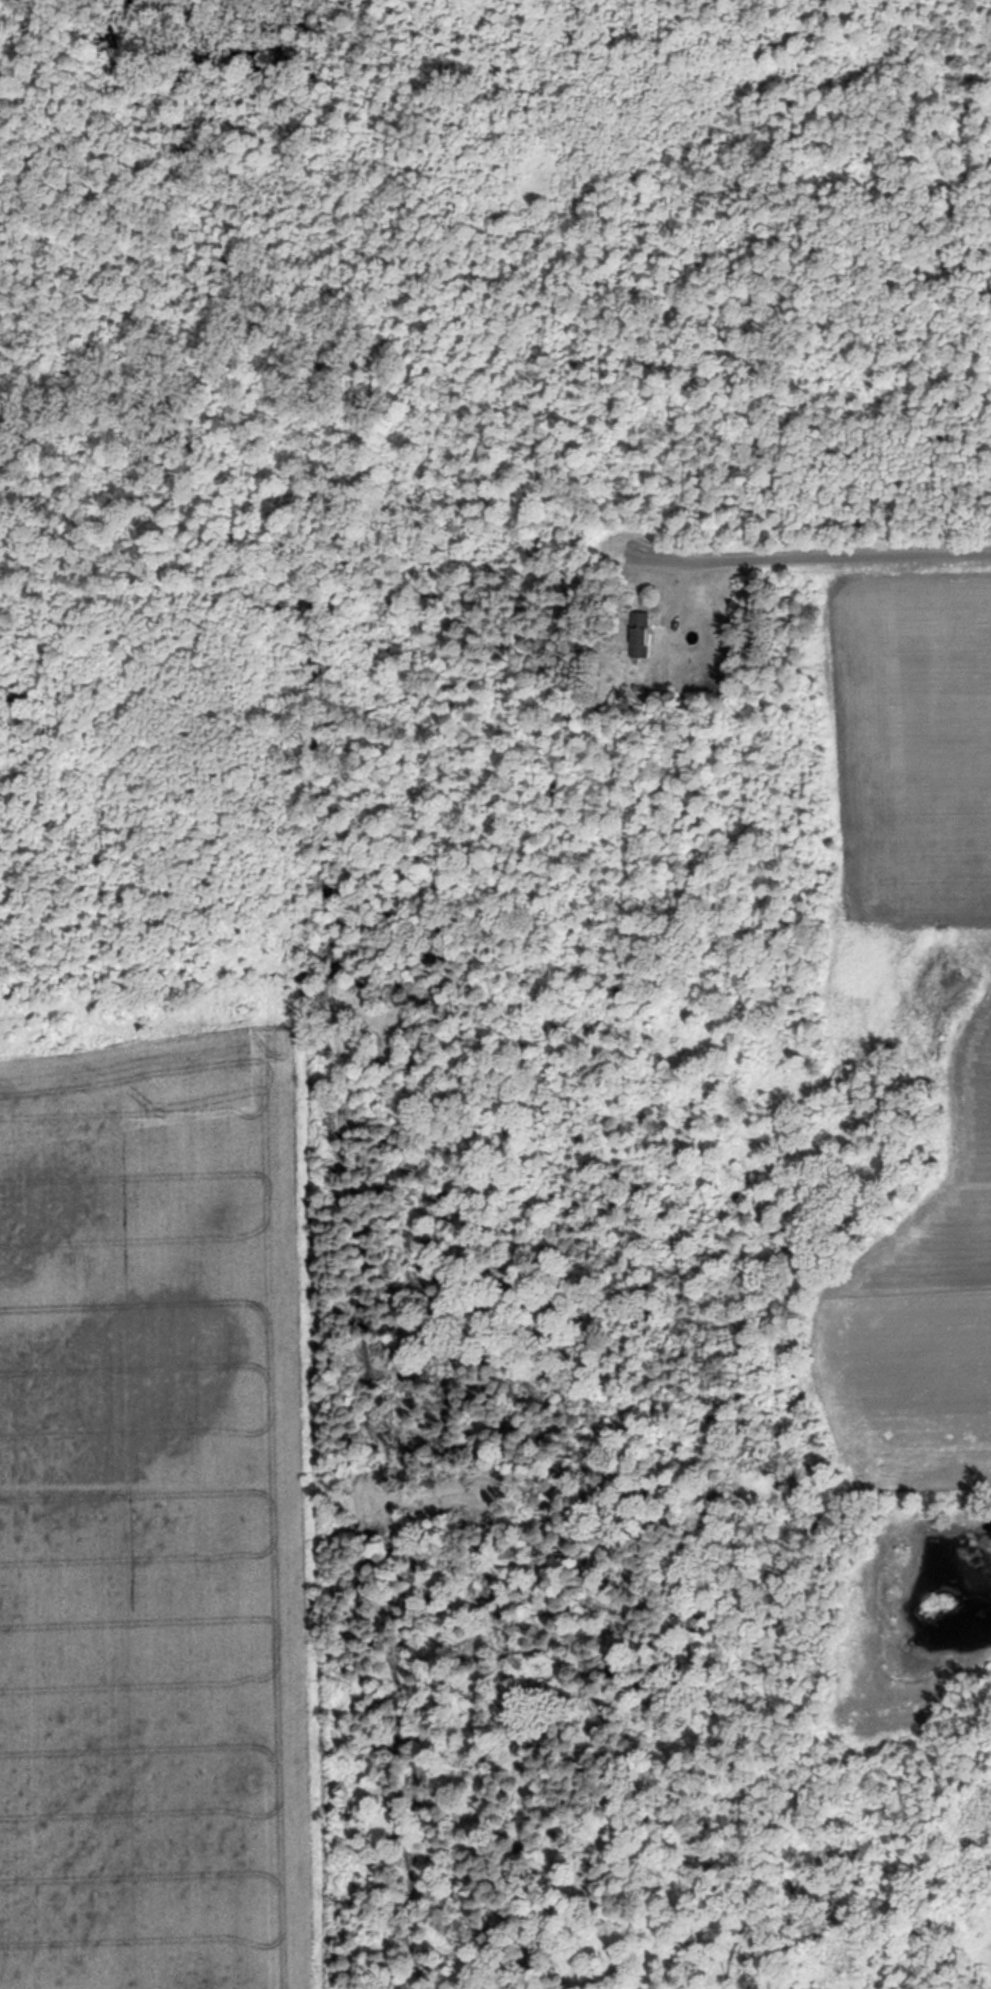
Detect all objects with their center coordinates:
road: (787, 562)
building: (646, 643)

